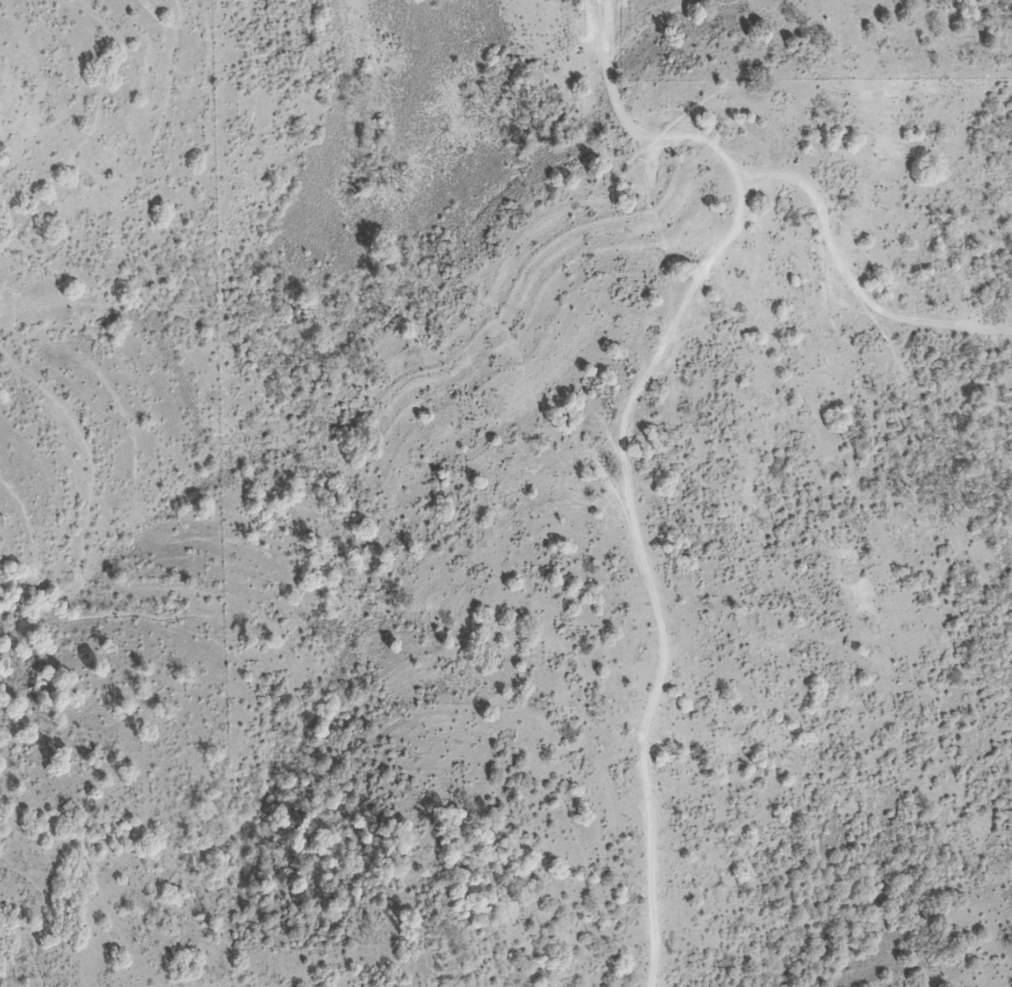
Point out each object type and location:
road: (22, 954)

